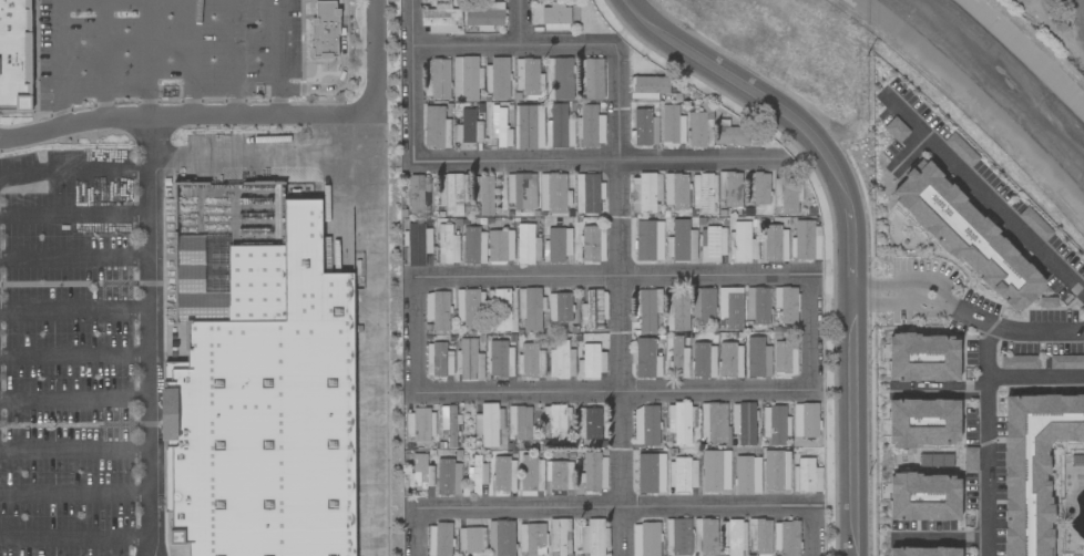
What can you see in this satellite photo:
building: (1033, 1)
building: (483, 17)
building: (555, 18)
building: (440, 19)
road: (59, 20)
road: (519, 21)
road: (585, 21)
wastewater plant: (1055, 25)
building: (324, 30)
road: (518, 42)
building: (16, 54)
road: (279, 56)
road: (149, 58)
road: (191, 58)
road: (237, 58)
building: (497, 78)
building: (528, 78)
building: (436, 79)
building: (466, 79)
building: (558, 79)
building: (591, 79)
road: (416, 80)
building: (647, 87)
road: (104, 93)
road: (184, 115)
building: (498, 123)
building: (587, 126)
building: (672, 126)
building: (434, 127)
building: (528, 127)
building: (559, 127)
building: (644, 127)
building: (468, 128)
building: (600, 128)
building: (699, 131)
building: (735, 134)
road: (907, 154)
road: (603, 161)
road: (260, 164)
road: (75, 173)
building: (729, 188)
building: (757, 188)
building: (675, 191)
building: (521, 192)
building: (645, 192)
building: (703, 192)
building: (451, 193)
building: (553, 193)
building: (587, 193)
building: (417, 194)
building: (482, 194)
road: (982, 194)
building: (785, 196)
road: (75, 210)
road: (845, 225)
building: (968, 237)
building: (646, 241)
building: (806, 241)
building: (681, 243)
building: (593, 244)
building: (775, 244)
building: (447, 245)
building: (526, 245)
building: (558, 245)
building: (712, 245)
building: (473, 246)
building: (499, 246)
road: (74, 258)
road: (613, 272)
road: (371, 277)
road: (622, 299)
building: (785, 305)
building: (703, 306)
building: (757, 306)
building: (468, 307)
building: (530, 307)
building: (559, 307)
building: (729, 307)
building: (593, 309)
building: (646, 309)
building: (437, 310)
building: (502, 310)
building: (676, 310)
road: (74, 311)
road: (964, 313)
road: (416, 330)
road: (811, 332)
road: (150, 337)
parking lot: (69, 352)
road: (74, 356)
building: (500, 358)
building: (757, 358)
building: (922, 358)
building: (646, 359)
building: (678, 359)
building: (785, 359)
building: (530, 360)
building: (561, 360)
building: (704, 360)
building: (730, 360)
building: (469, 361)
building: (591, 361)
building: (1057, 361)
road: (1035, 378)
building: (252, 379)
road: (937, 390)
road: (614, 392)
road: (74, 402)
building: (519, 422)
building: (678, 422)
building: (923, 422)
building: (555, 423)
building: (587, 423)
building: (713, 423)
building: (418, 424)
building: (450, 424)
building: (488, 424)
building: (645, 425)
building: (775, 425)
road: (986, 439)
road: (74, 451)
building: (1033, 465)
building: (776, 471)
building: (594, 472)
building: (712, 472)
building: (748, 472)
building: (531, 473)
building: (420, 474)
building: (503, 474)
building: (682, 474)
building: (477, 475)
building: (559, 475)
building: (806, 475)
building: (448, 477)
road: (74, 492)
building: (923, 497)
road: (615, 505)
road: (816, 531)
road: (416, 532)
building: (559, 536)
building: (677, 536)
building: (758, 536)
building: (704, 537)
building: (733, 537)
building: (500, 538)
building: (786, 538)
building: (439, 539)
building: (471, 539)
building: (531, 539)
road: (938, 539)
road: (74, 542)
building: (923, 552)

